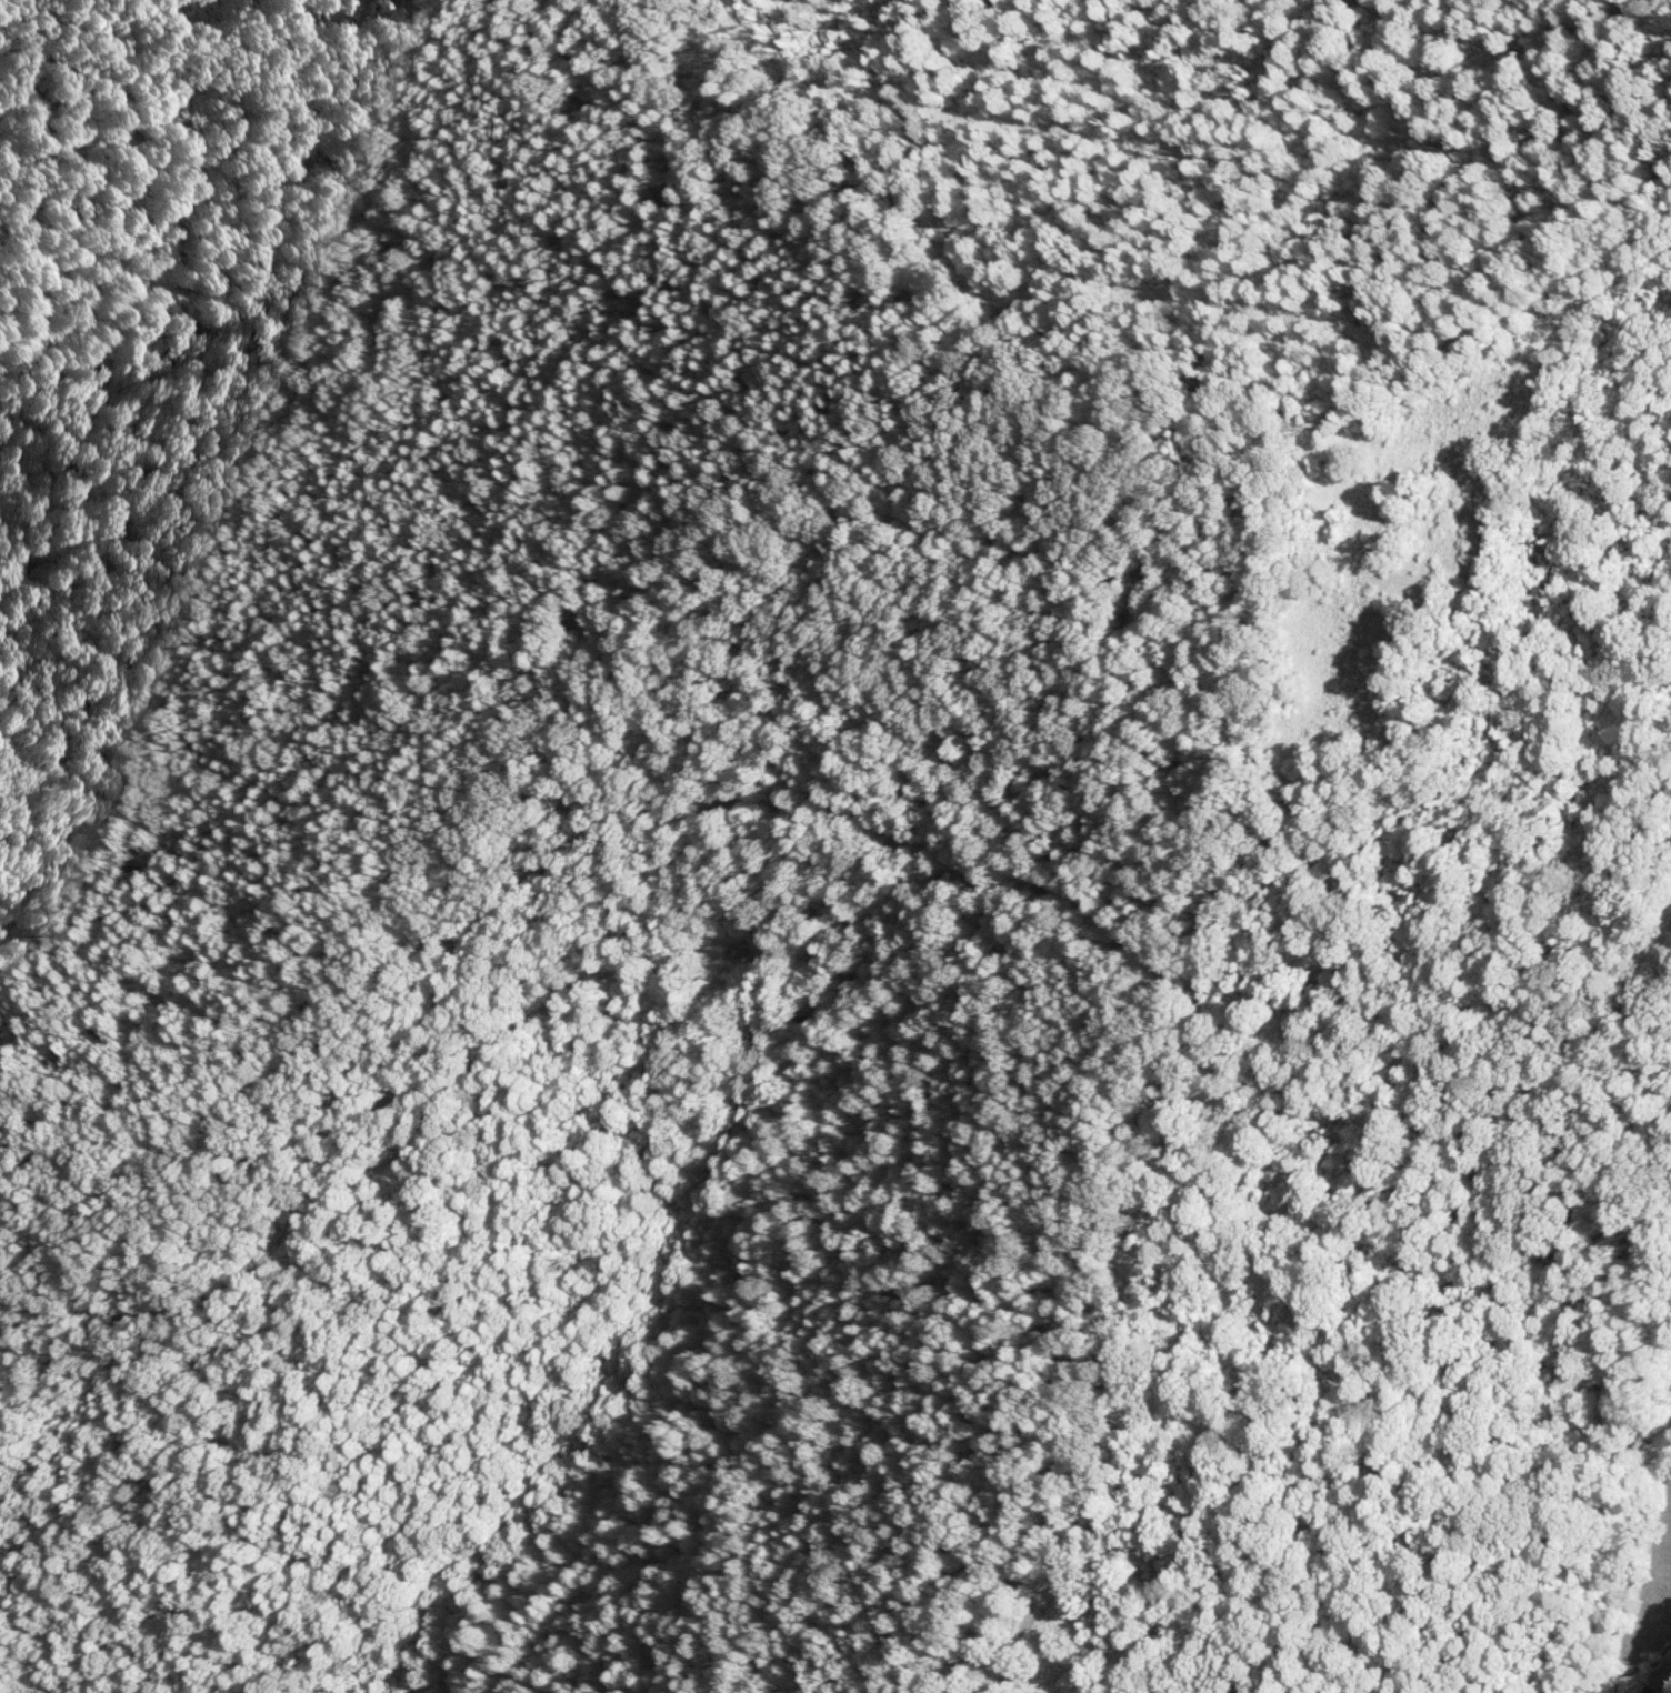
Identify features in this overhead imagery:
road: (53, 1240)

